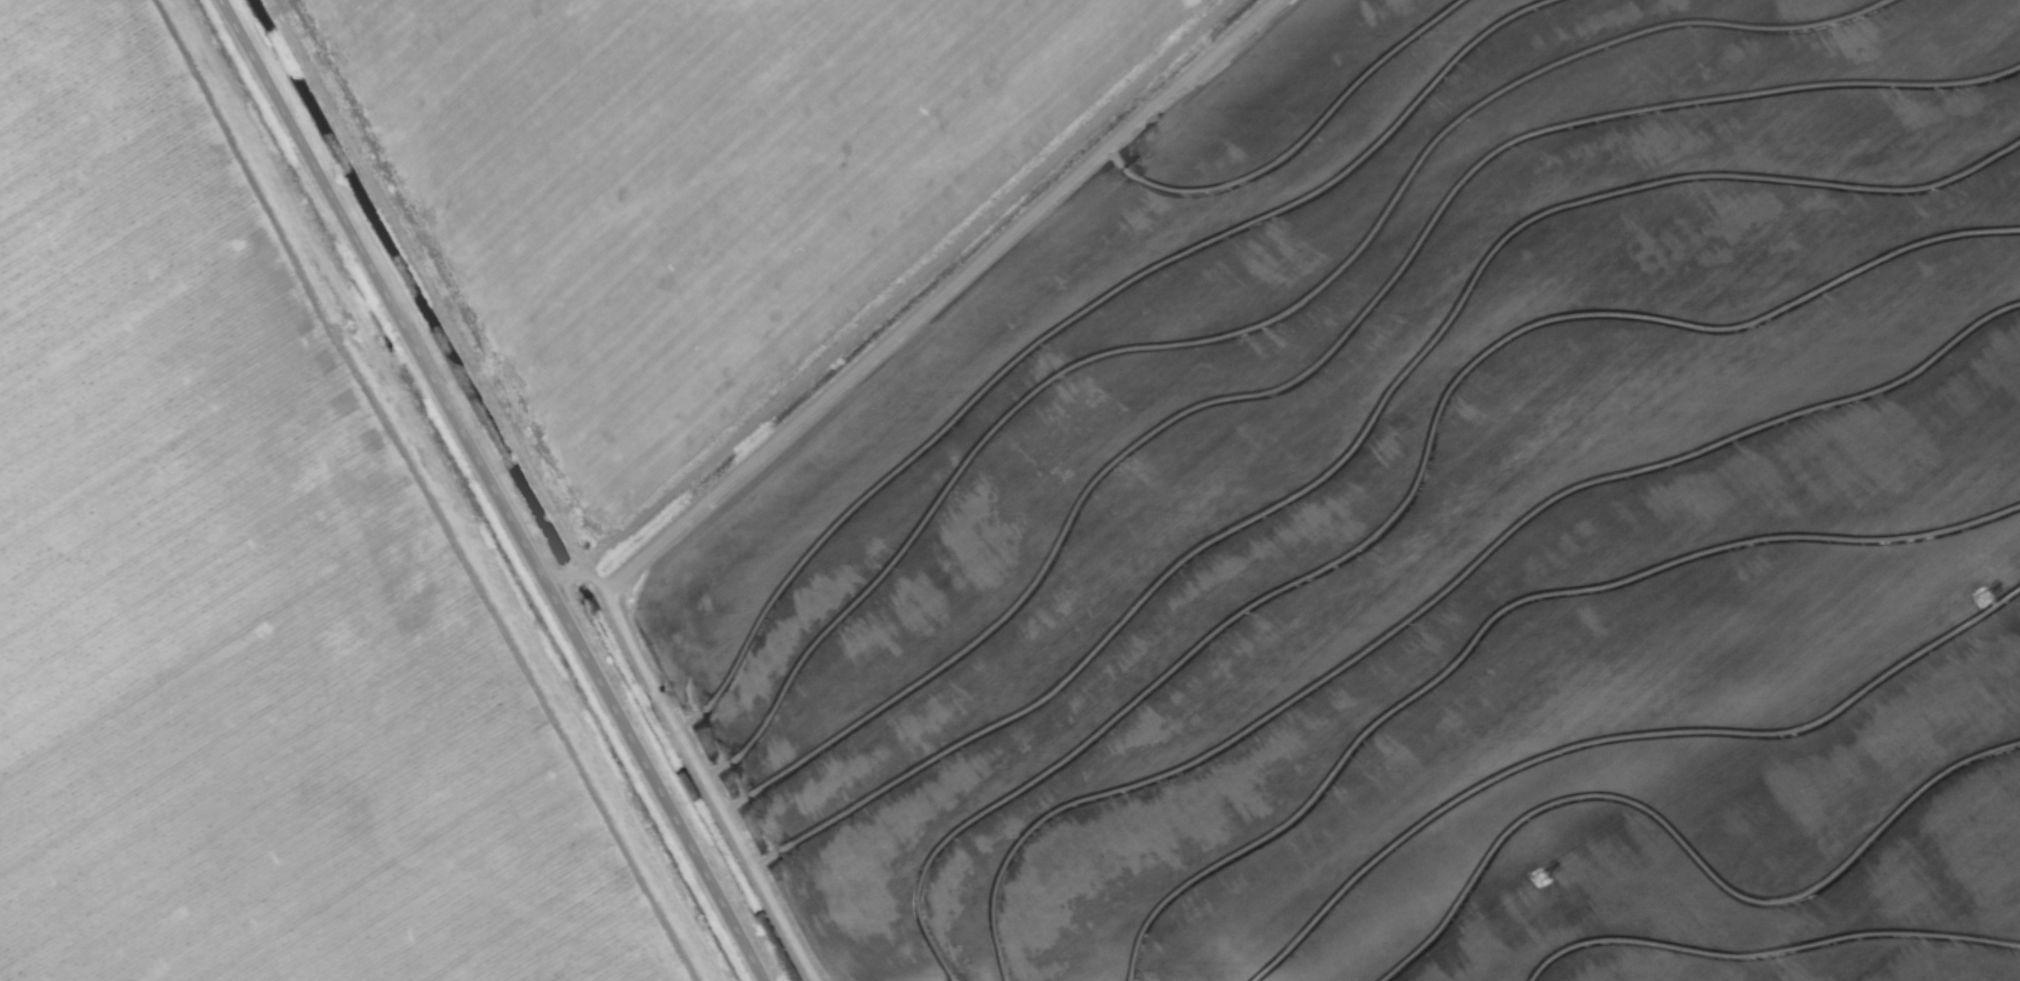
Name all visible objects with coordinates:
road: (497, 490)
crop: (1010, 490)
power tower: (1988, 600)
power tower: (1545, 882)

